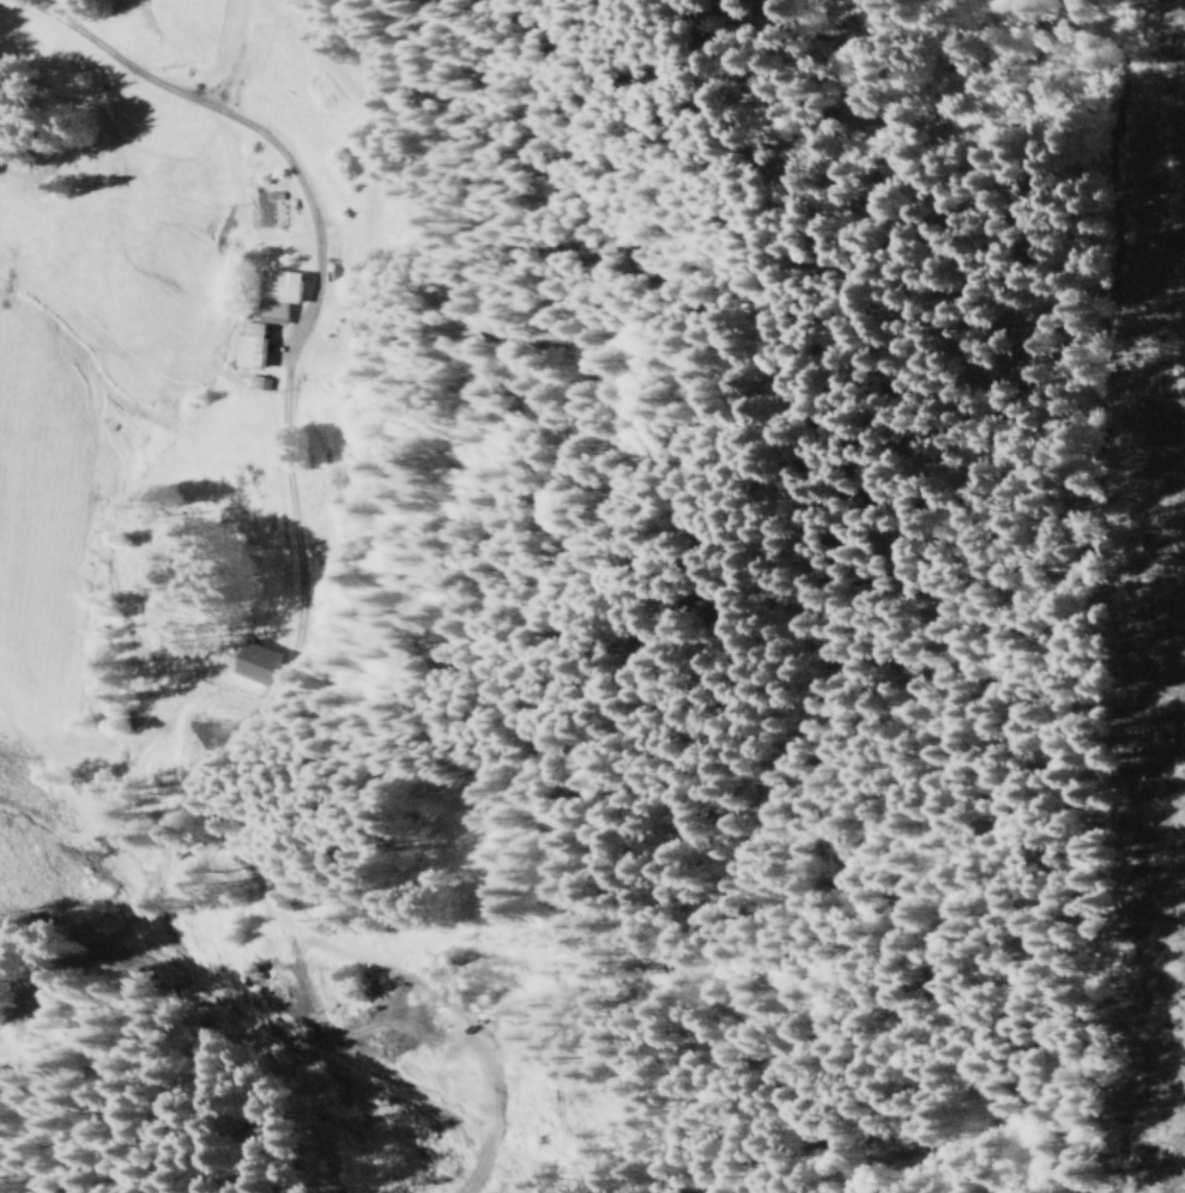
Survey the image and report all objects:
building: (273, 291)
building: (246, 341)
road: (248, 624)

